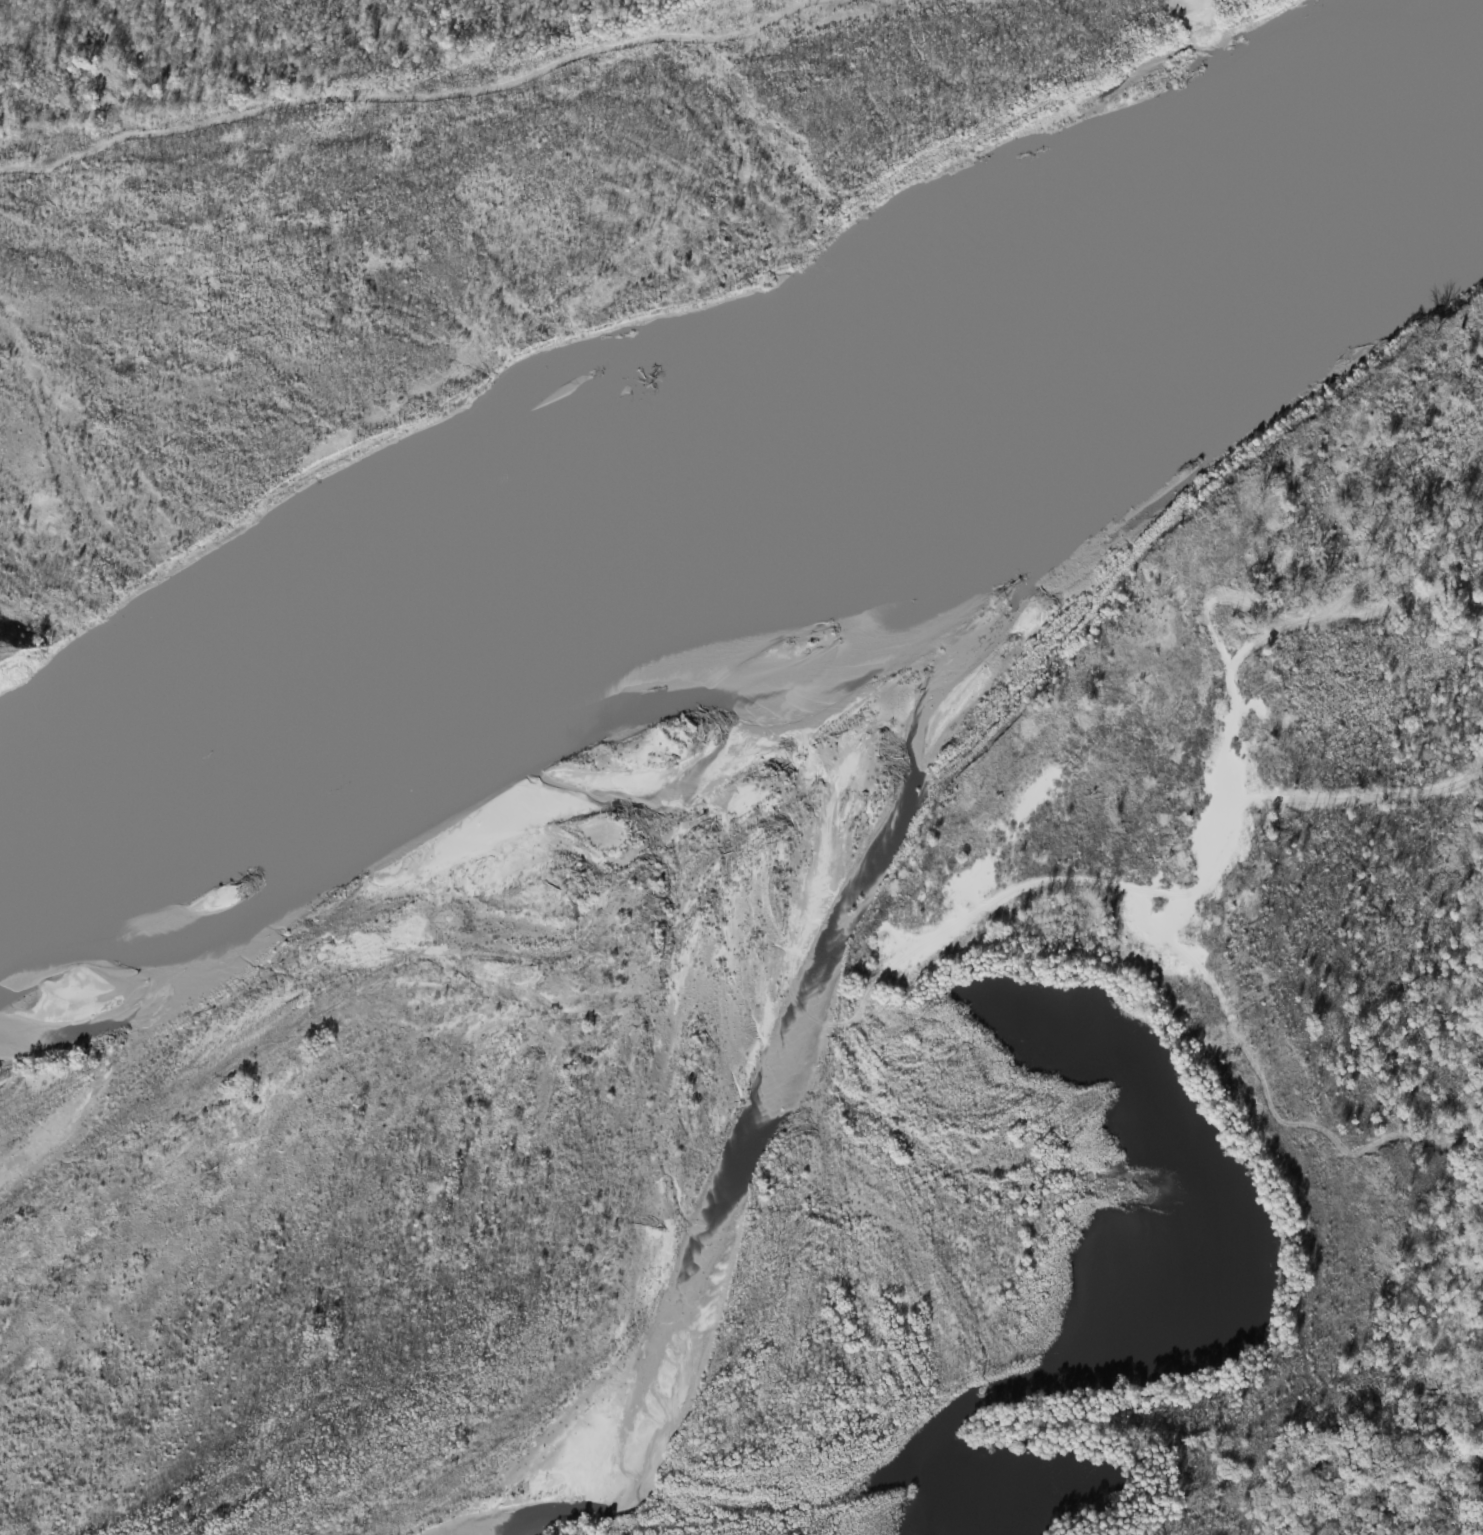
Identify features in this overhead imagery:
river: (588, 157)

